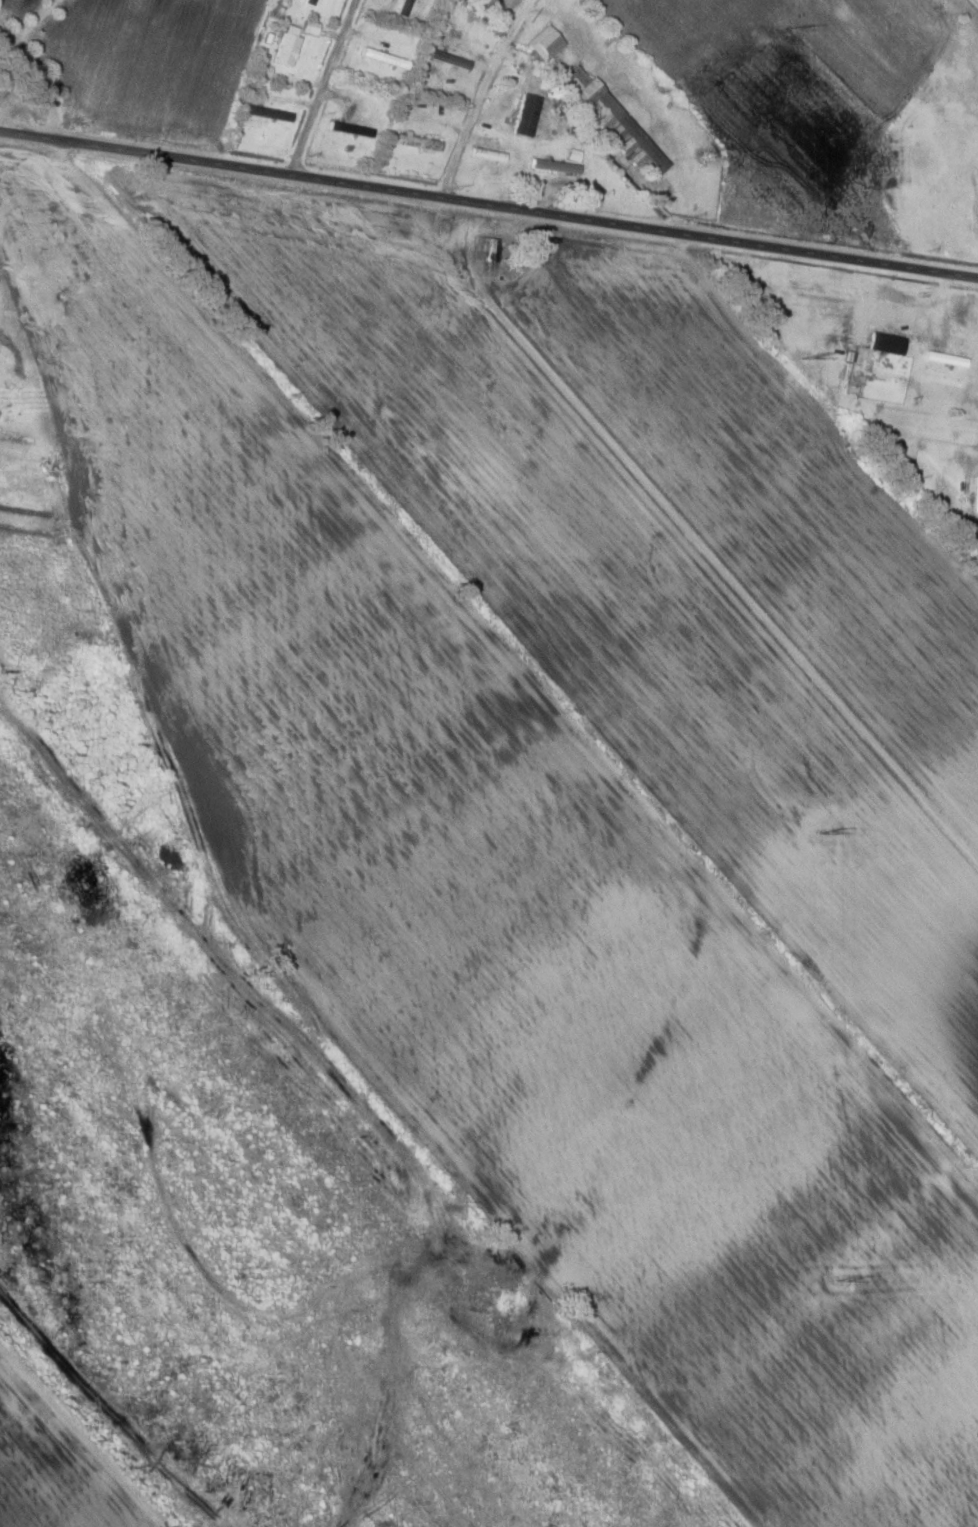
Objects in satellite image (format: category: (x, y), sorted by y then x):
building: (311, 2)
building: (403, 8)
road: (970, 8)
power tower: (800, 26)
building: (547, 43)
building: (289, 50)
building: (388, 58)
building: (452, 59)
road: (482, 92)
building: (528, 115)
building: (613, 118)
building: (352, 129)
building: (418, 142)
building: (489, 155)
building: (557, 166)
road: (489, 203)
building: (489, 249)
power tower: (810, 354)
building: (975, 493)
power tower: (827, 832)
power tower: (843, 1277)

